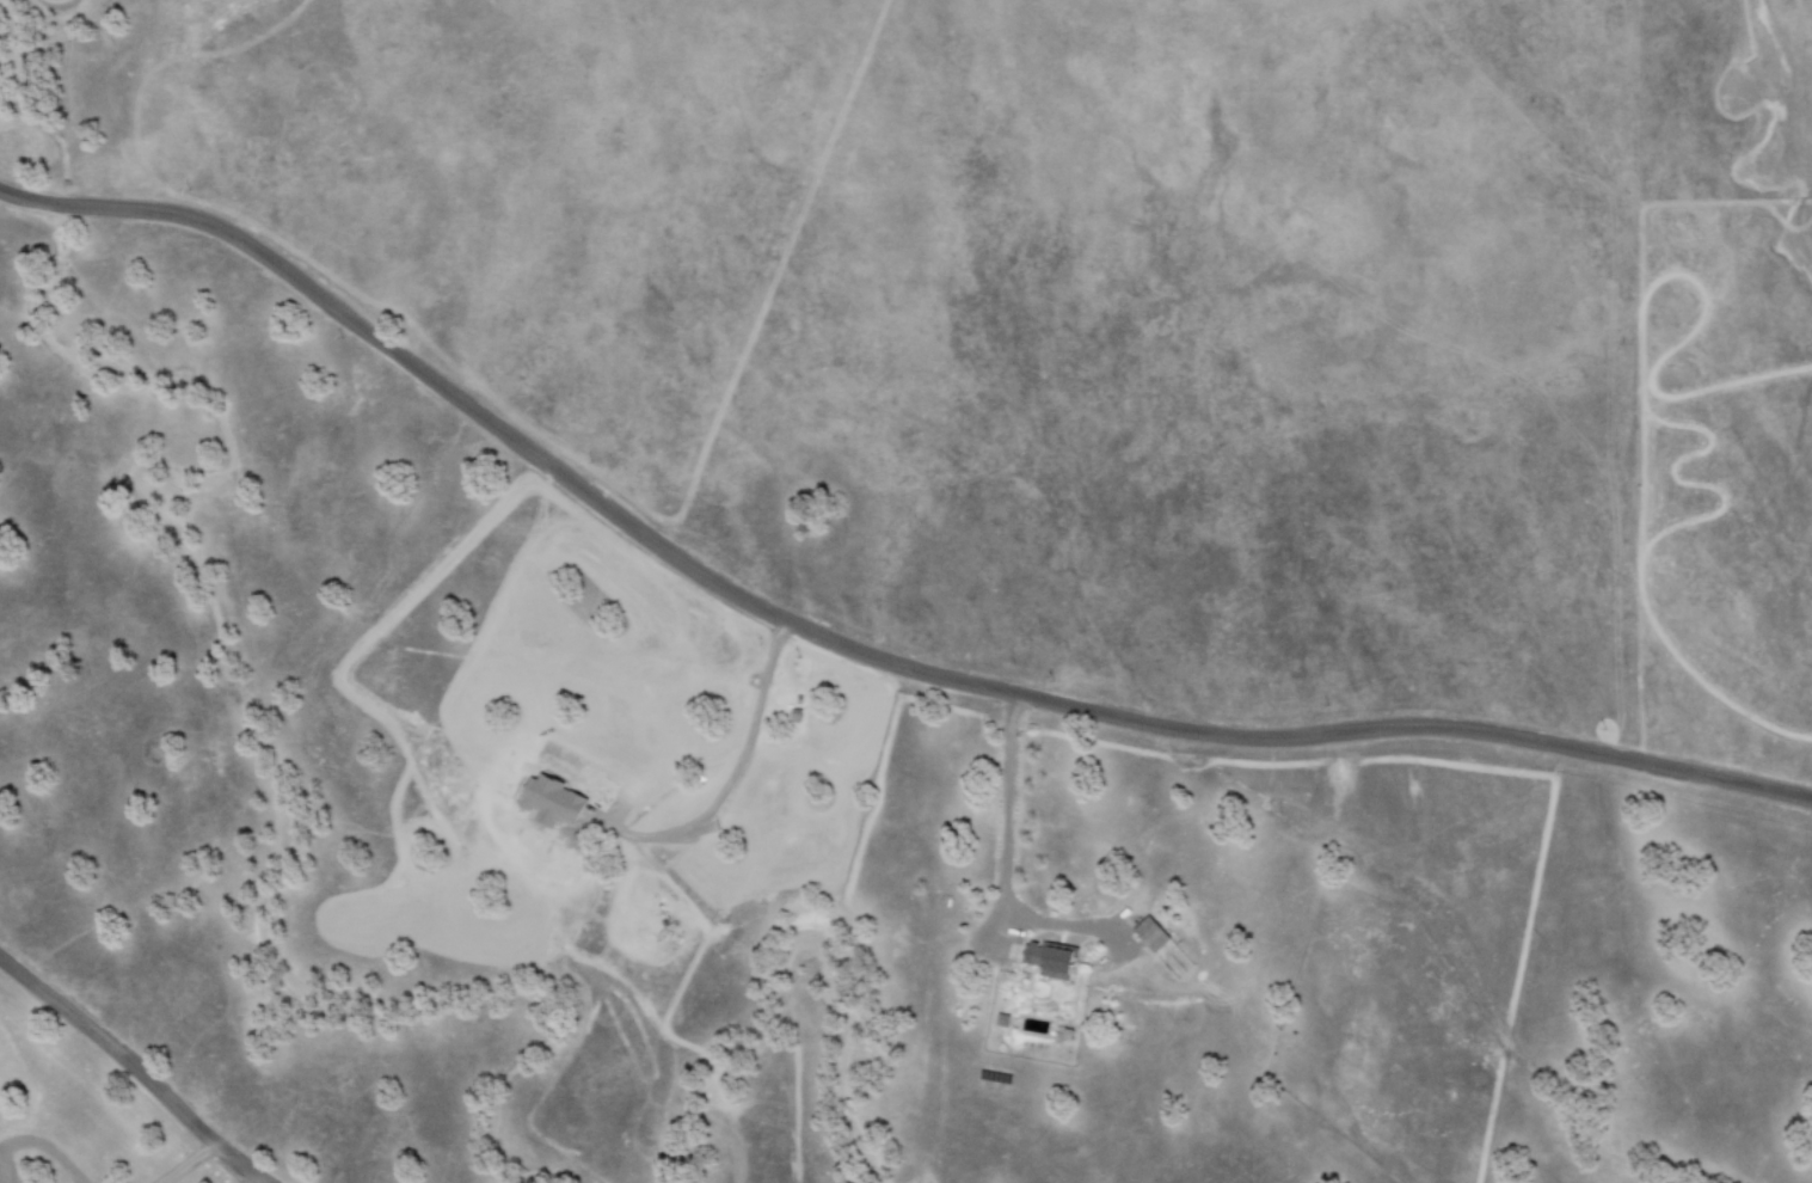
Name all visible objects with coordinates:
road: (848, 650)
road: (738, 762)
building: (553, 799)
road: (1000, 841)
building: (1150, 932)
building: (1050, 958)
building: (1001, 1018)
road: (136, 1065)
road: (184, 1160)
road: (251, 1178)

